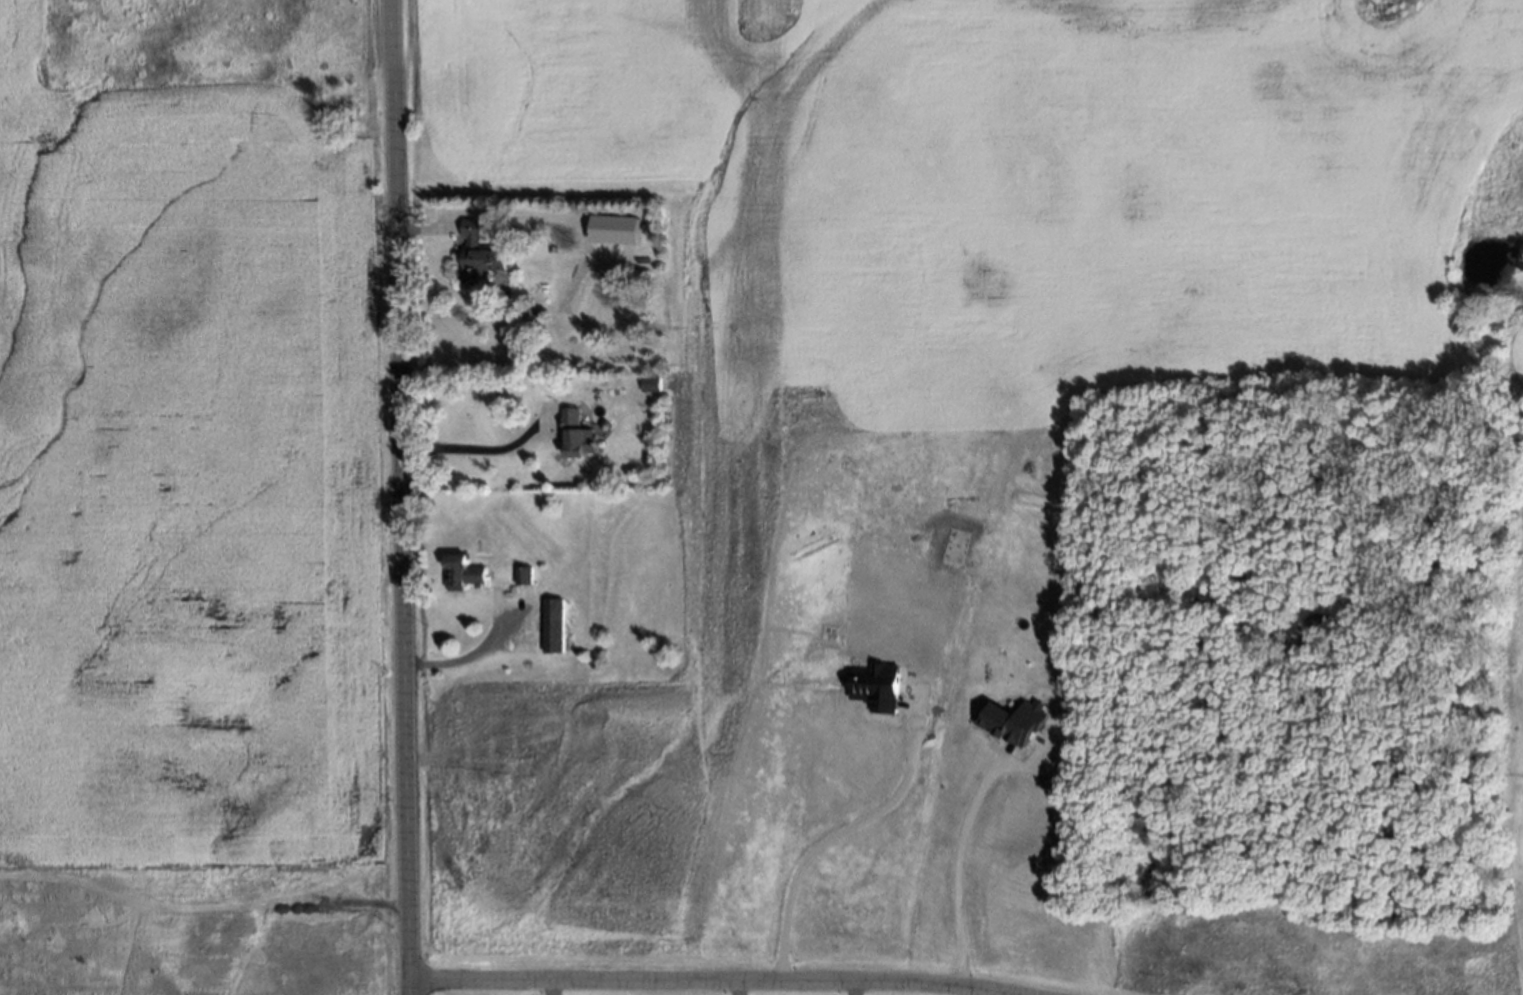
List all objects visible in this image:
building: (614, 228)
building: (548, 247)
building: (476, 250)
building: (647, 381)
building: (573, 431)
road: (476, 448)
road: (399, 497)
building: (457, 569)
building: (517, 575)
building: (548, 626)
road: (464, 656)
building: (875, 686)
building: (1014, 721)
road: (819, 844)
road: (950, 872)
road: (700, 981)
road: (729, 988)
road: (845, 989)
road: (966, 993)

